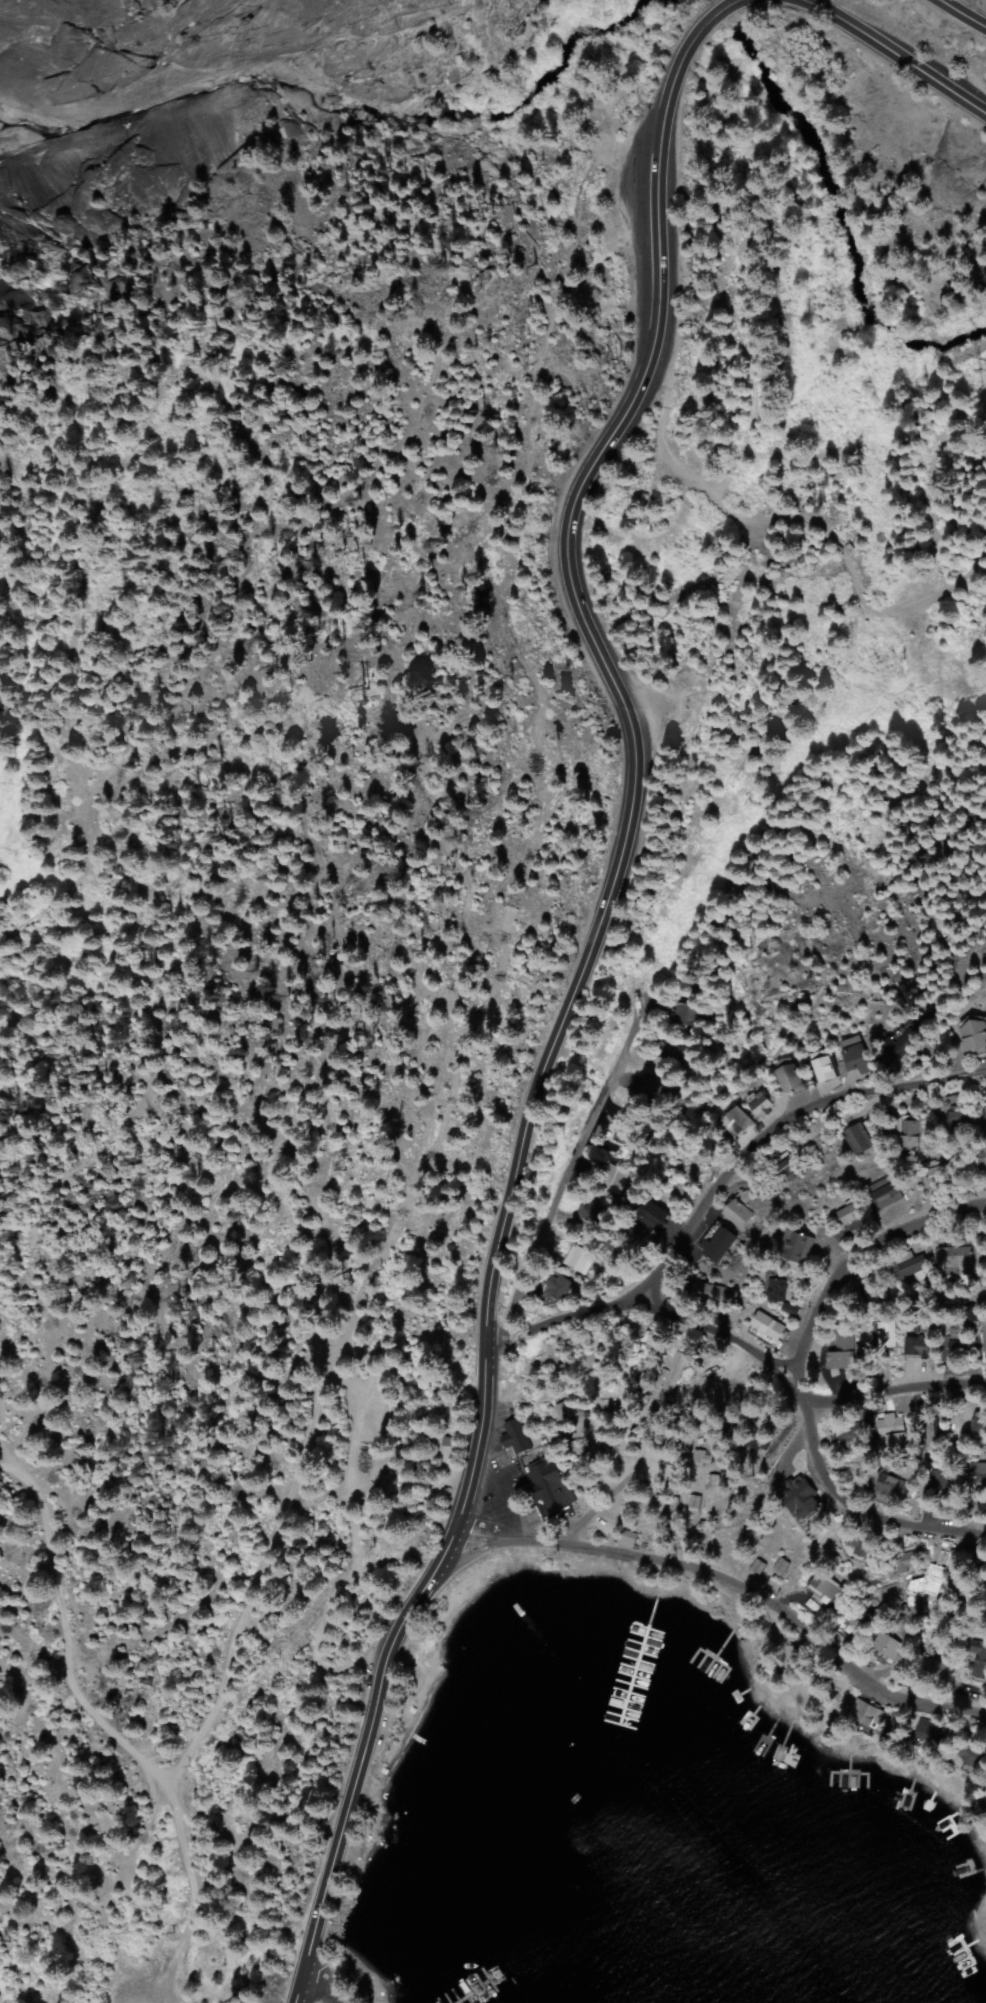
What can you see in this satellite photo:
road: (960, 16)
road: (894, 54)
road: (775, 517)
road: (569, 992)
building: (975, 1035)
building: (859, 1055)
road: (630, 1058)
building: (827, 1069)
building: (792, 1079)
building: (764, 1105)
road: (772, 1112)
building: (957, 1114)
building: (739, 1121)
building: (911, 1136)
building: (860, 1140)
building: (982, 1160)
building: (618, 1180)
building: (889, 1196)
building: (740, 1213)
building: (653, 1215)
building: (722, 1246)
building: (799, 1247)
building: (958, 1258)
building: (583, 1259)
road: (858, 1260)
building: (709, 1291)
building: (782, 1291)
building: (771, 1330)
building: (984, 1334)
building: (890, 1336)
building: (920, 1347)
building: (845, 1354)
road: (756, 1357)
building: (675, 1378)
road: (895, 1388)
building: (760, 1443)
building: (553, 1491)
building: (802, 1498)
road: (722, 1575)
building: (828, 1586)
pier: (597, 1765)
road: (152, 1774)
road: (302, 1984)
pier: (480, 1994)

